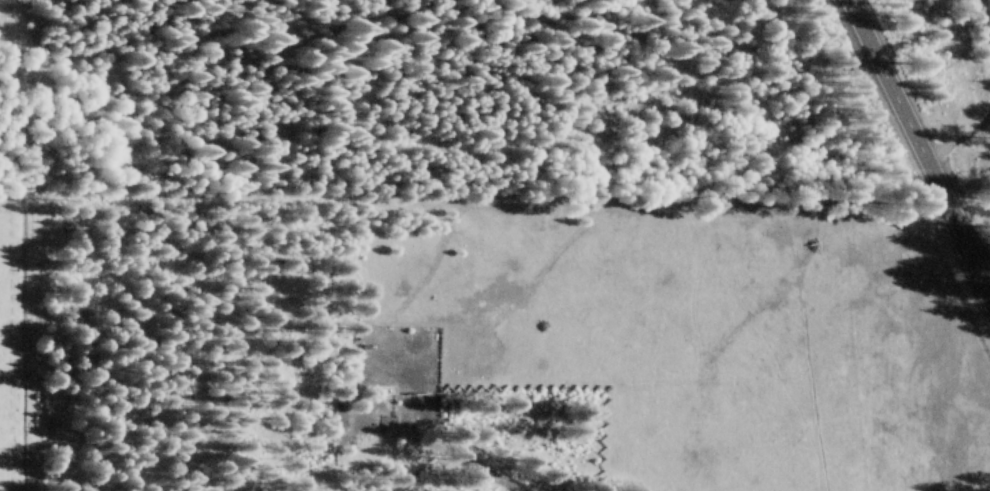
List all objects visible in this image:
road: (918, 148)

